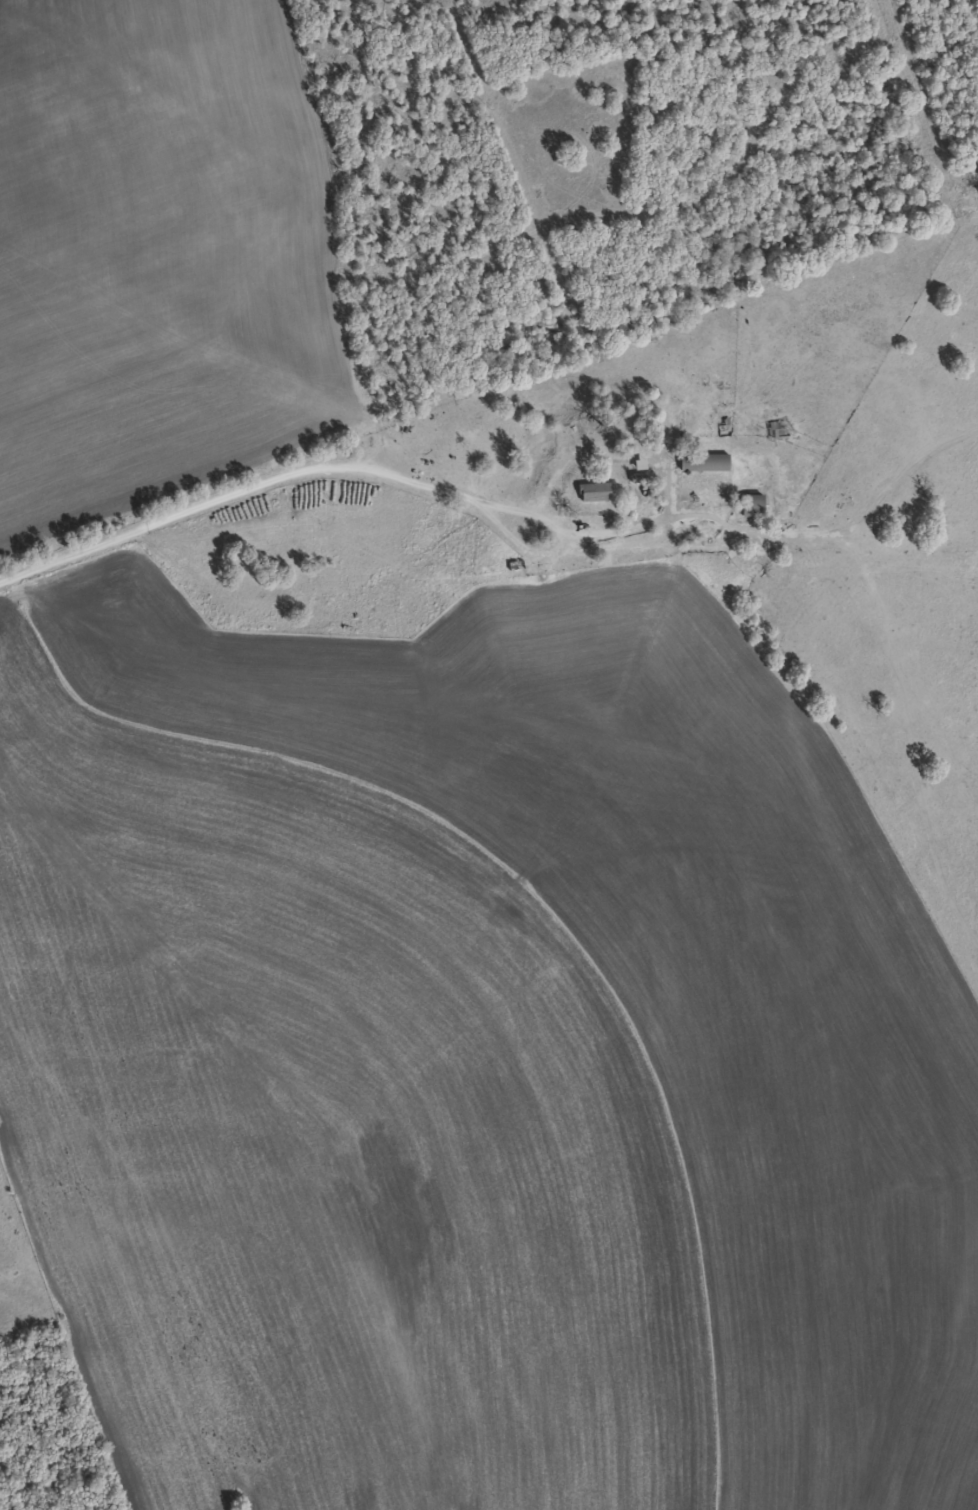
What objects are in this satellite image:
building: (775, 428)
building: (701, 462)
building: (592, 492)
road: (256, 498)
building: (750, 505)

